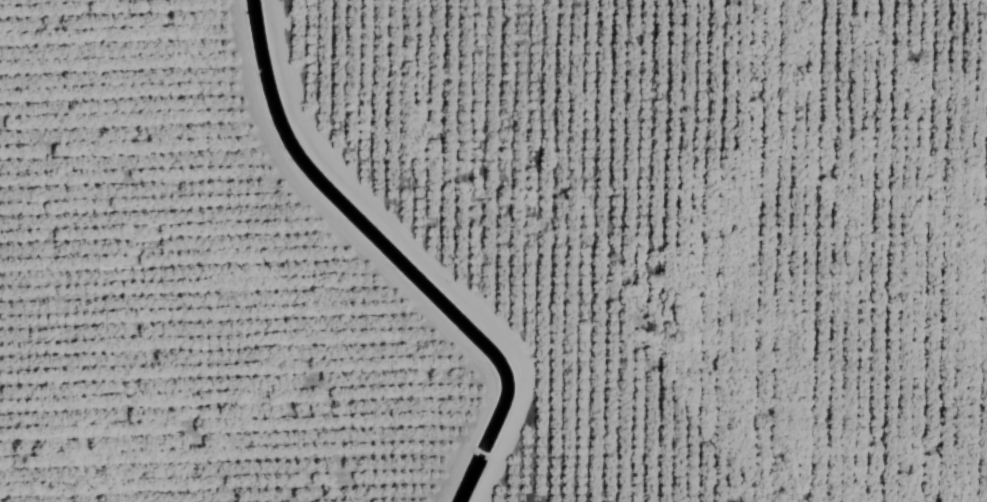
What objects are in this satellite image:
crop: (493, 251)

